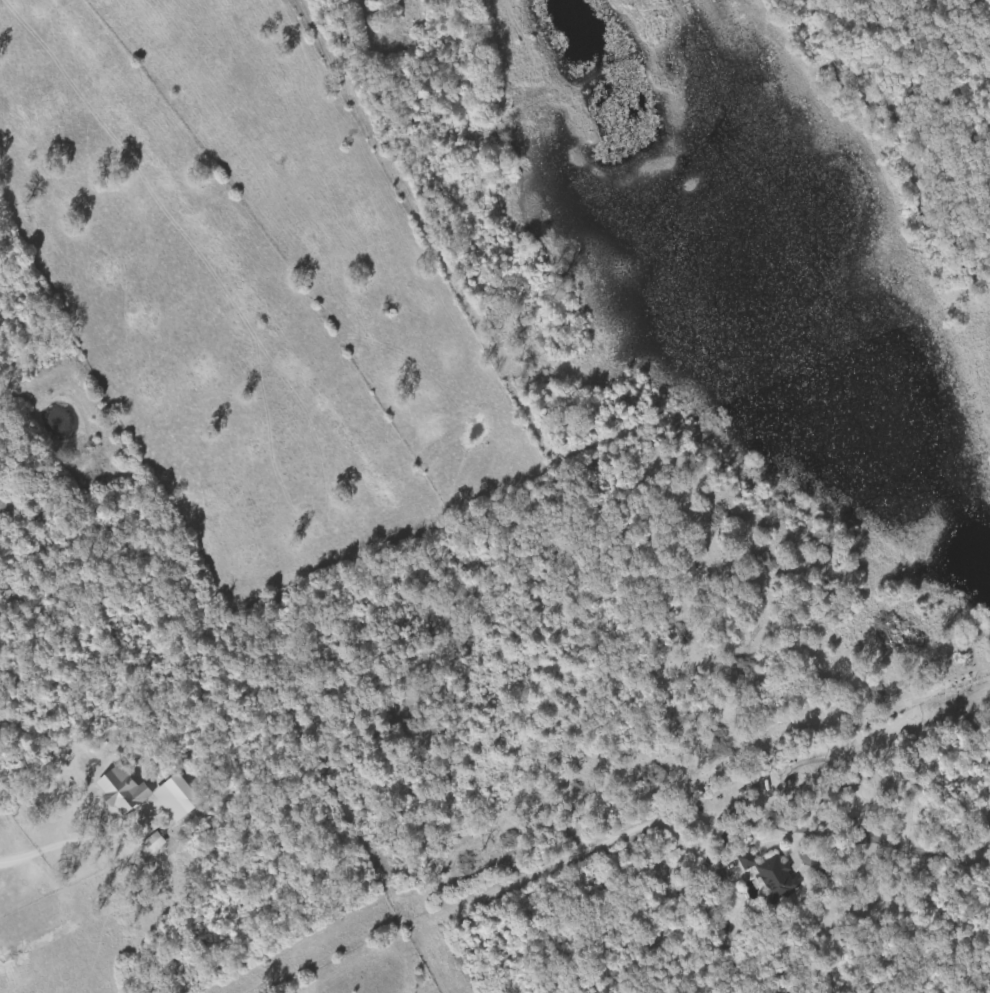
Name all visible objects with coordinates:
building: (126, 791)
road: (84, 842)
building: (157, 843)
building: (775, 875)

